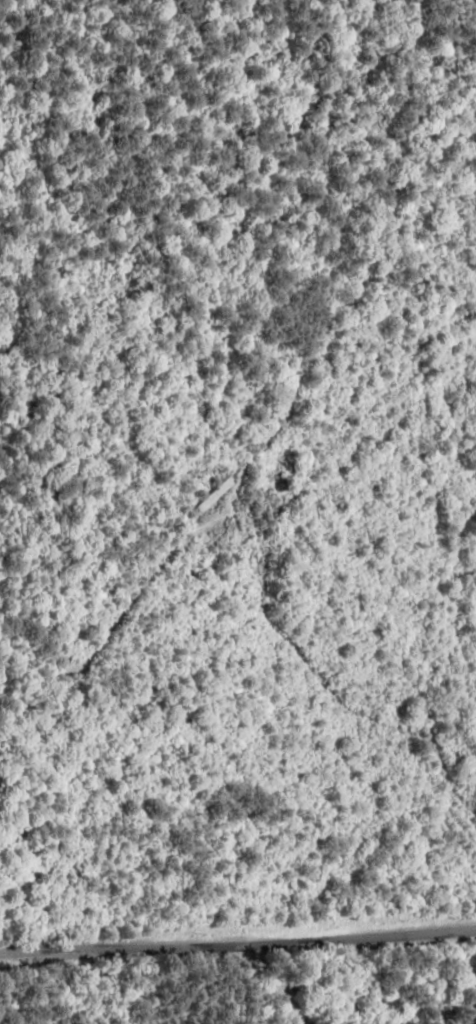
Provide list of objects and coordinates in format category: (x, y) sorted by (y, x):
road: (17, 972)
road: (238, 972)

